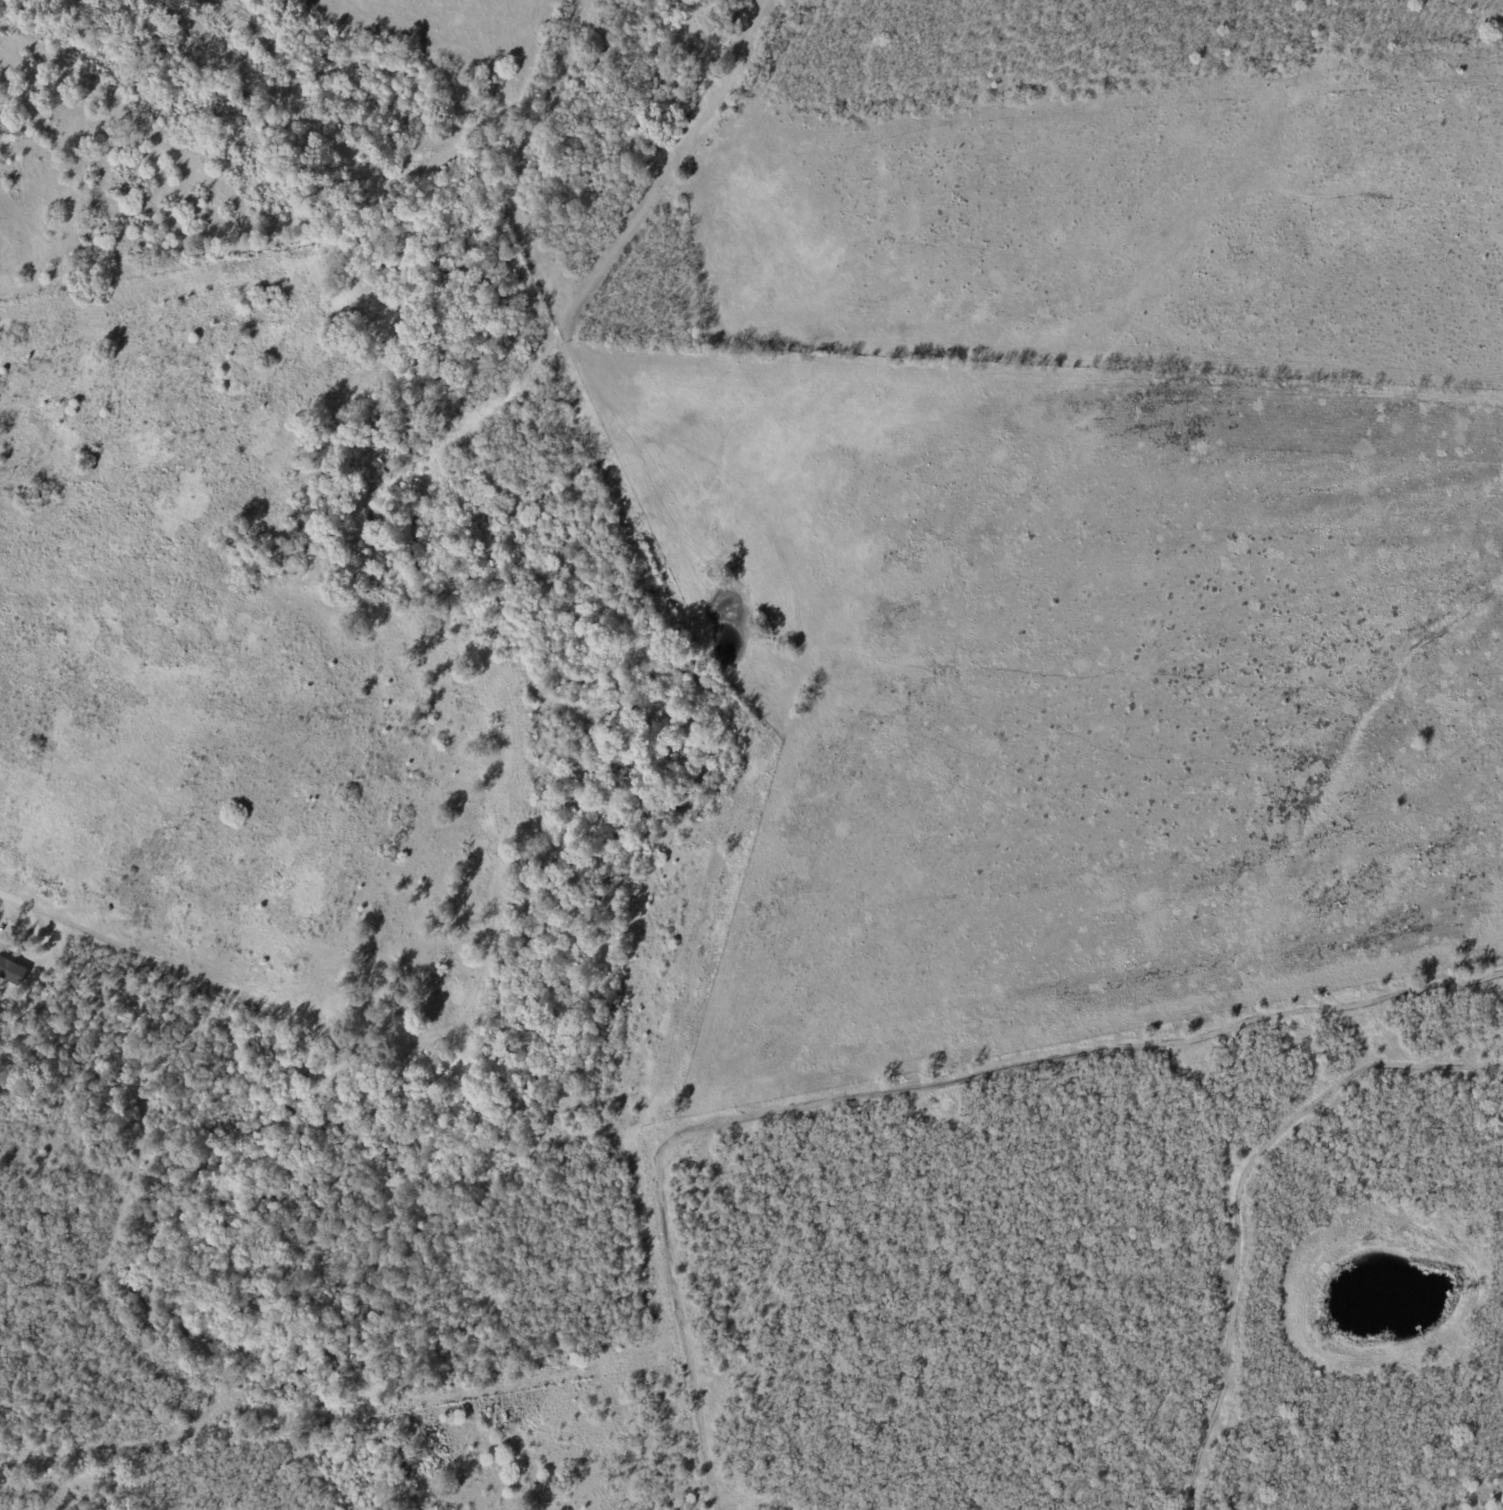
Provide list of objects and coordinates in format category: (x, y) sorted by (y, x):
building: (12, 972)

